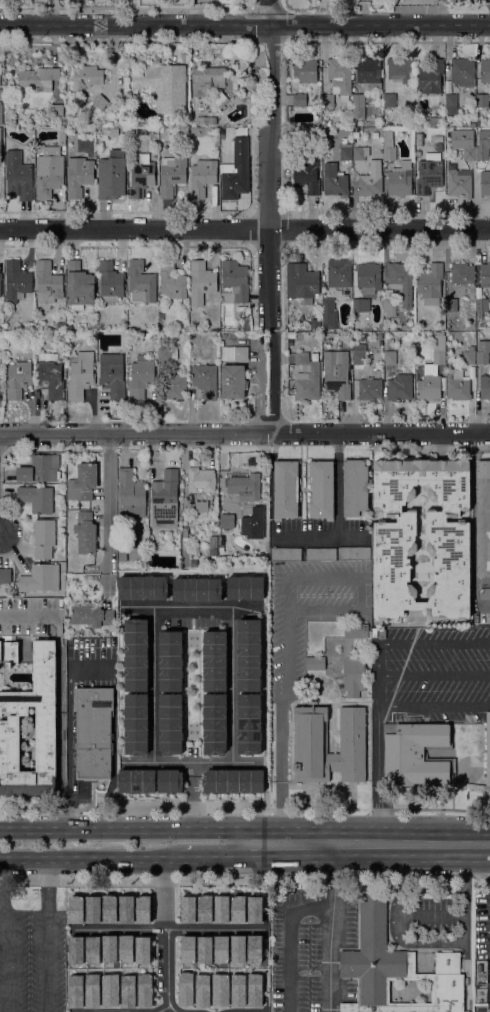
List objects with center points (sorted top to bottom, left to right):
road: (245, 23)
building: (0, 68)
building: (304, 69)
building: (399, 70)
building: (485, 70)
building: (369, 72)
building: (462, 72)
building: (430, 76)
building: (85, 77)
building: (339, 77)
building: (38, 78)
building: (206, 80)
building: (163, 85)
building: (0, 94)
building: (299, 99)
building: (389, 100)
building: (406, 100)
building: (482, 100)
building: (99, 101)
building: (327, 101)
building: (216, 104)
building: (358, 105)
building: (450, 108)
building: (57, 110)
building: (437, 110)
building: (0, 113)
building: (205, 120)
building: (432, 121)
building: (71, 122)
building: (326, 123)
building: (416, 123)
building: (471, 130)
building: (92, 131)
building: (387, 134)
building: (61, 136)
building: (1, 139)
building: (419, 139)
building: (440, 147)
building: (51, 151)
building: (346, 151)
building: (358, 153)
building: (389, 153)
building: (417, 153)
building: (469, 153)
building: (482, 153)
building: (236, 170)
building: (429, 173)
building: (171, 174)
building: (18, 175)
building: (48, 175)
building: (78, 175)
building: (111, 175)
building: (141, 176)
building: (306, 176)
building: (202, 177)
building: (334, 181)
building: (399, 182)
building: (459, 182)
building: (485, 183)
building: (369, 184)
road: (268, 216)
road: (245, 228)
building: (337, 273)
building: (461, 273)
building: (368, 277)
building: (485, 277)
building: (16, 280)
building: (235, 280)
building: (141, 281)
building: (171, 281)
building: (401, 281)
building: (110, 282)
building: (201, 282)
building: (305, 282)
building: (0, 283)
building: (47, 283)
building: (430, 283)
building: (79, 286)
building: (389, 303)
building: (451, 304)
building: (361, 305)
building: (481, 308)
building: (328, 313)
building: (161, 317)
building: (315, 324)
building: (60, 326)
building: (214, 328)
building: (146, 335)
building: (291, 335)
building: (326, 335)
building: (438, 350)
building: (233, 352)
building: (482, 352)
building: (167, 353)
building: (358, 355)
building: (389, 357)
building: (469, 357)
building: (336, 373)
building: (80, 375)
building: (112, 375)
building: (313, 375)
building: (141, 377)
building: (50, 379)
building: (17, 380)
building: (205, 380)
building: (233, 382)
building: (429, 383)
building: (0, 385)
building: (457, 385)
building: (485, 385)
building: (174, 386)
building: (400, 387)
building: (369, 388)
road: (245, 433)
building: (39, 469)
building: (201, 479)
building: (82, 482)
road: (337, 485)
building: (244, 487)
building: (354, 487)
building: (285, 489)
building: (321, 489)
building: (130, 494)
building: (37, 498)
building: (165, 500)
building: (201, 506)
road: (109, 515)
building: (483, 518)
building: (227, 521)
building: (185, 532)
building: (85, 533)
building: (449, 537)
building: (44, 538)
road: (319, 538)
building: (354, 553)
building: (285, 554)
building: (321, 554)
building: (5, 575)
road: (325, 577)
building: (40, 578)
building: (142, 585)
building: (244, 587)
building: (196, 588)
road: (289, 593)
road: (361, 593)
building: (484, 593)
road: (193, 604)
road: (325, 609)
building: (30, 614)
building: (91, 615)
road: (435, 644)
road: (288, 652)
building: (9, 653)
building: (248, 653)
building: (136, 654)
building: (214, 660)
building: (170, 661)
building: (353, 661)
building: (315, 663)
road: (92, 666)
road: (379, 674)
road: (434, 674)
road: (153, 682)
road: (233, 683)
road: (434, 705)
building: (45, 718)
building: (213, 722)
building: (249, 723)
building: (135, 724)
building: (170, 724)
building: (310, 730)
building: (93, 732)
building: (488, 750)
building: (415, 754)
road: (193, 761)
road: (283, 768)
road: (379, 774)
building: (135, 779)
building: (167, 779)
building: (234, 783)
road: (196, 795)
road: (124, 830)
road: (368, 841)
road: (90, 855)
road: (215, 856)
road: (332, 926)
road: (168, 930)
road: (7, 933)
road: (49, 933)
road: (165, 935)
road: (291, 939)
road: (464, 941)
building: (142, 950)
building: (396, 969)
building: (184, 987)
building: (143, 989)
building: (201, 989)
building: (219, 989)
building: (236, 989)
road: (4, 1007)
road: (162, 1009)

